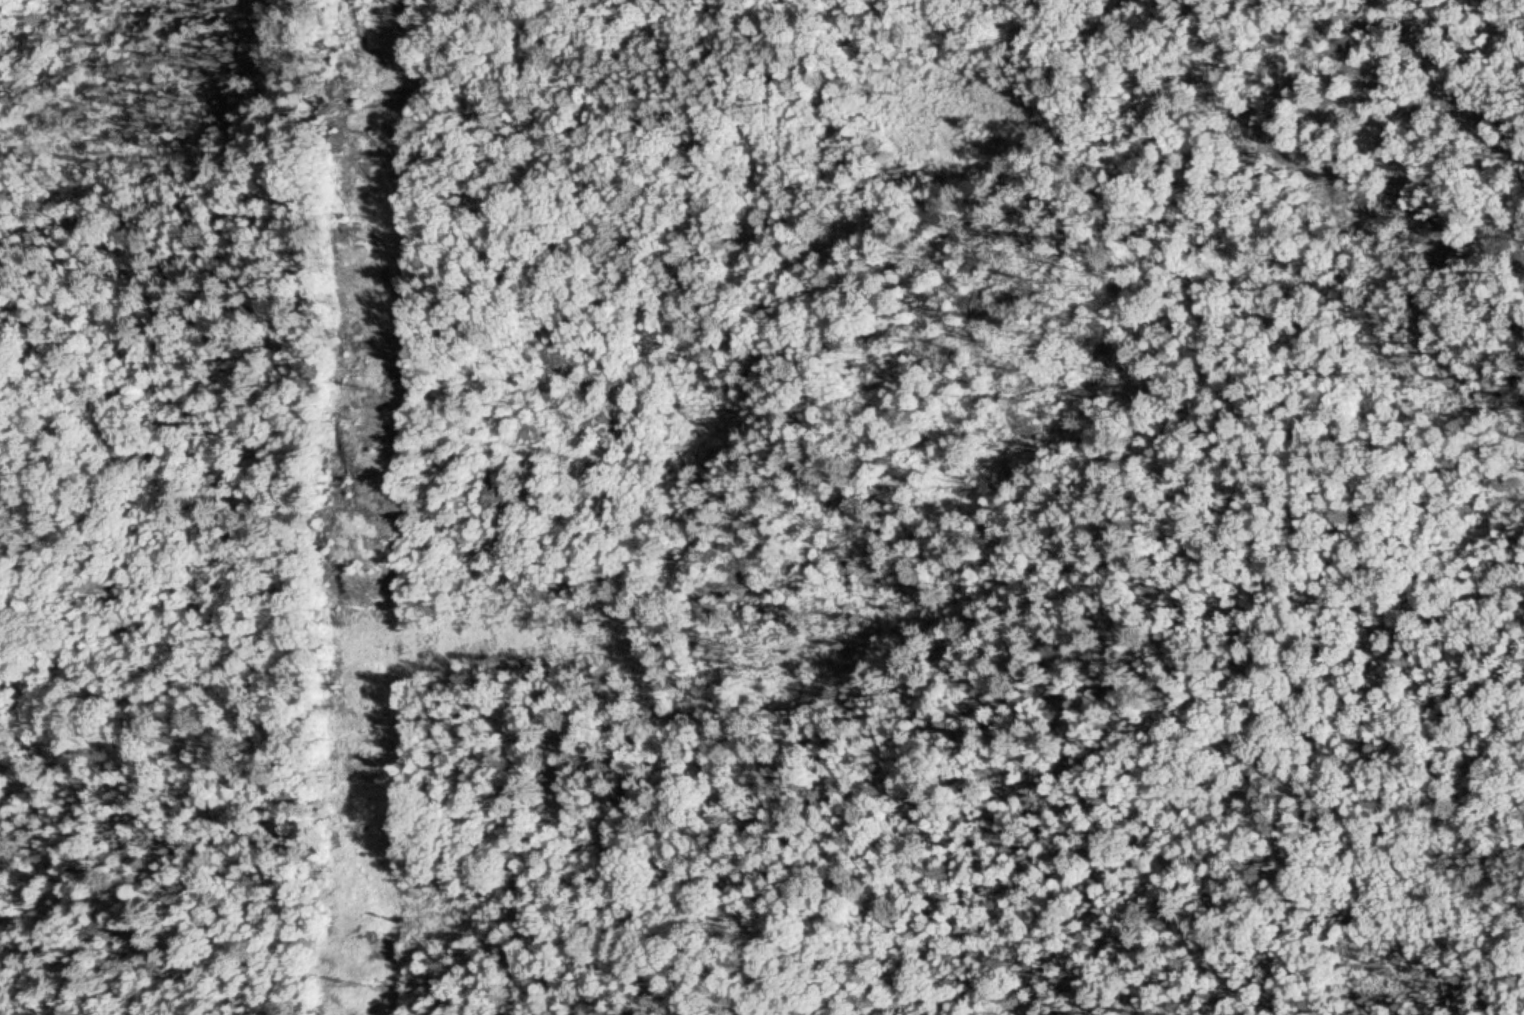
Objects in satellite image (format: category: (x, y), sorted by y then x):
road: (801, 263)
road: (259, 633)
road: (8, 1010)

